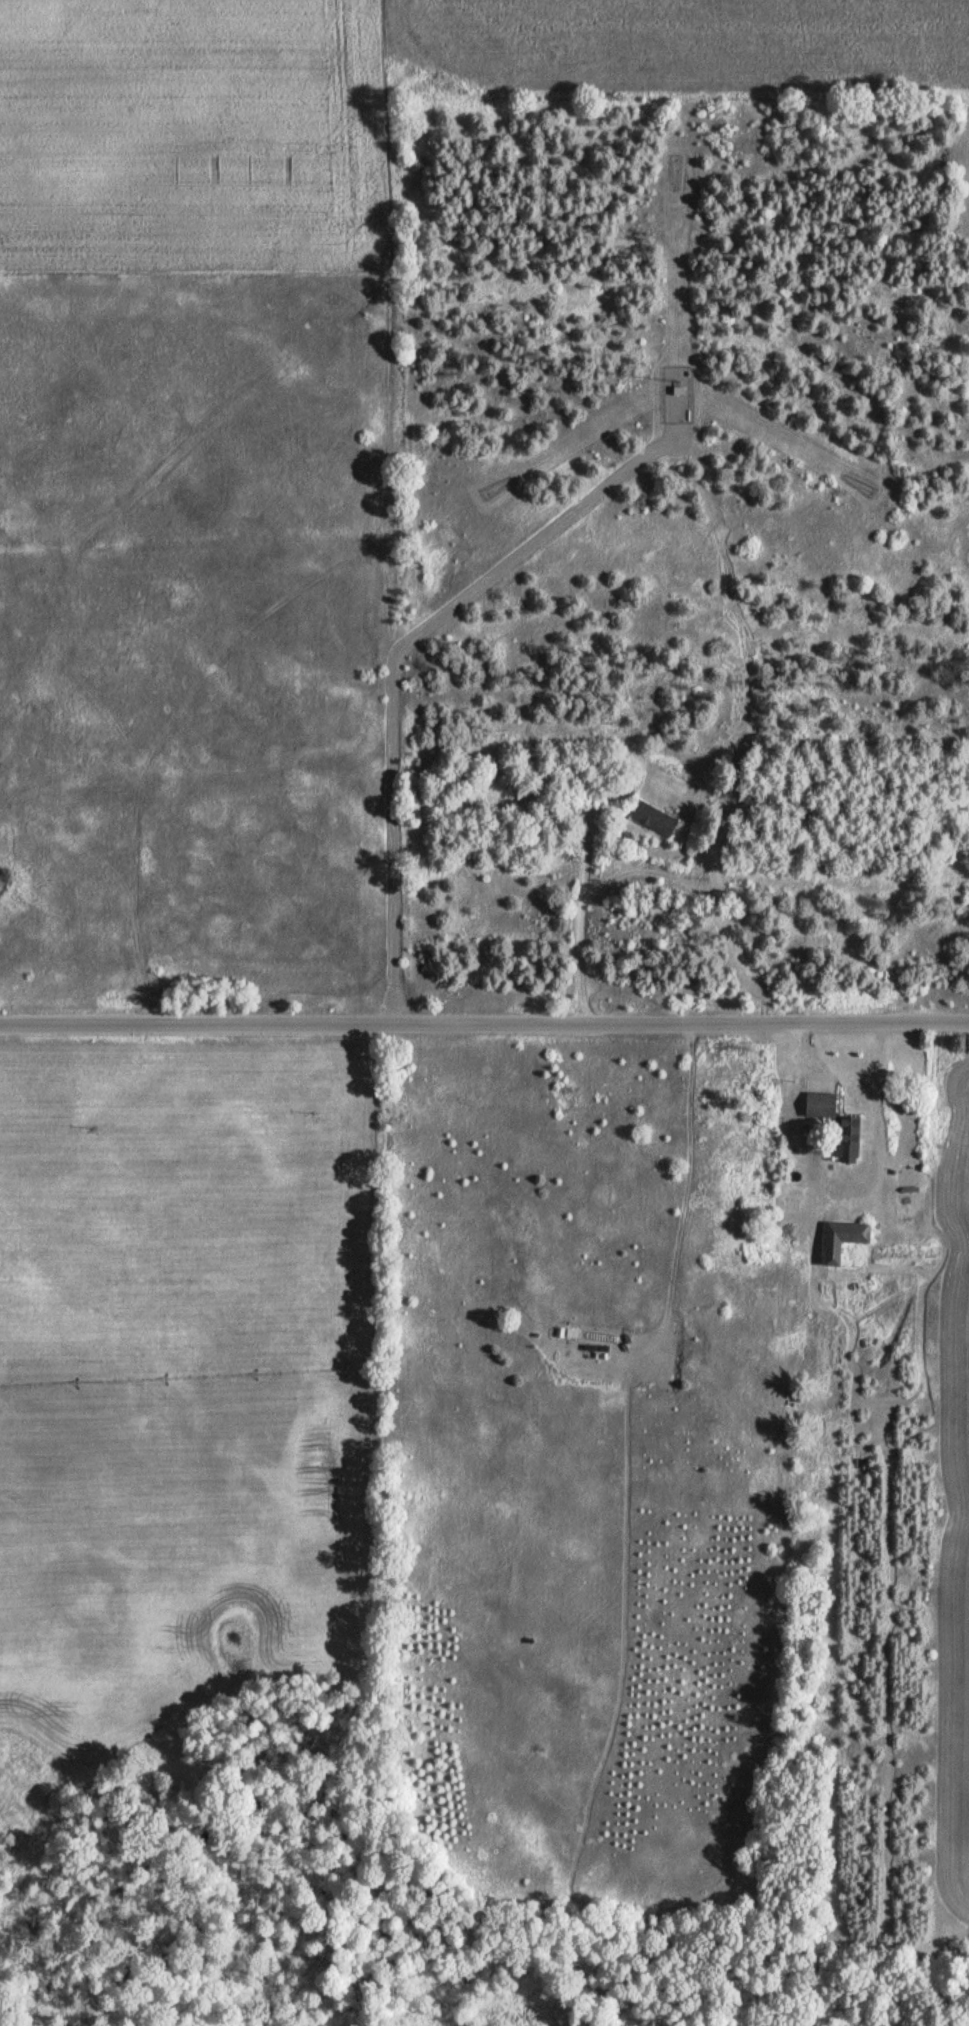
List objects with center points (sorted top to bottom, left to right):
road: (398, 660)
building: (575, 812)
building: (653, 820)
road: (576, 915)
road: (484, 1024)
building: (833, 1125)
building: (840, 1241)
building: (593, 1350)

